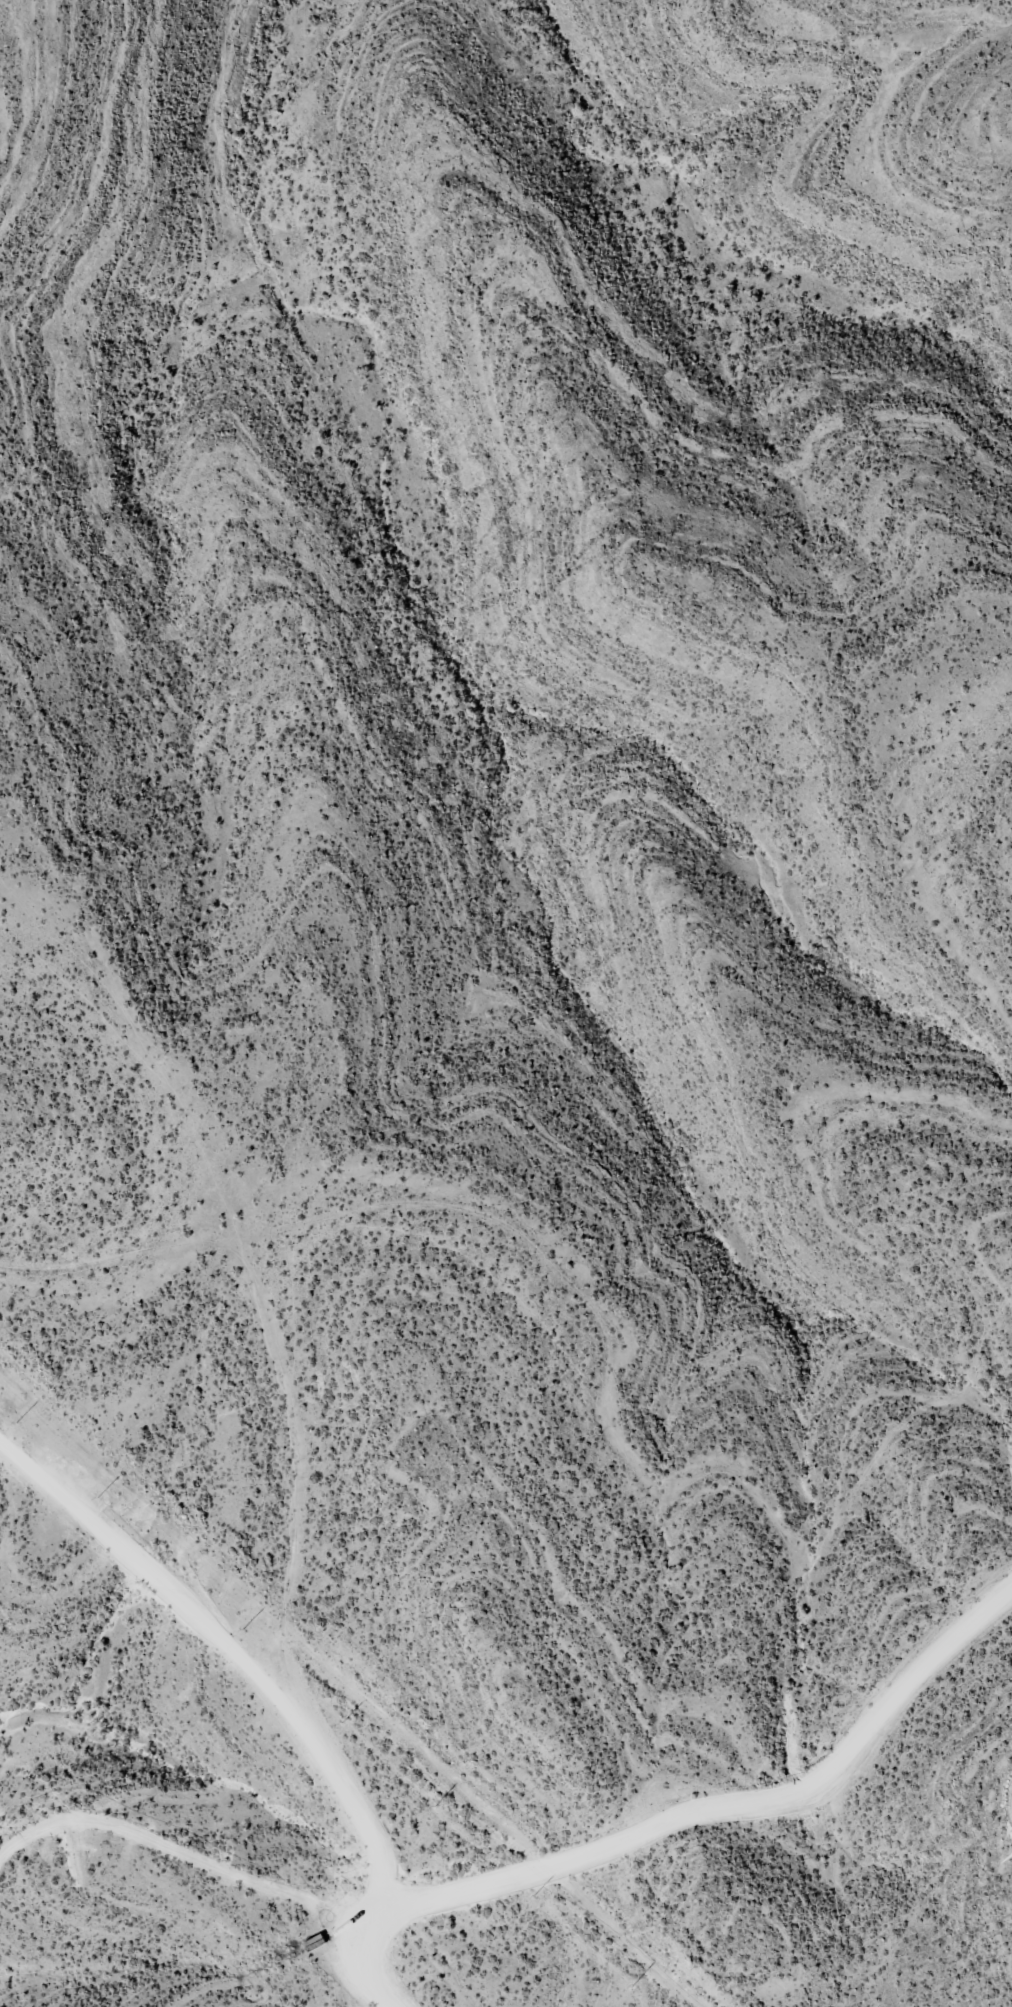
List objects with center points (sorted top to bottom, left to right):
road: (588, 1332)
road: (296, 1648)
road: (542, 1862)
road: (362, 1936)
building: (321, 1946)

